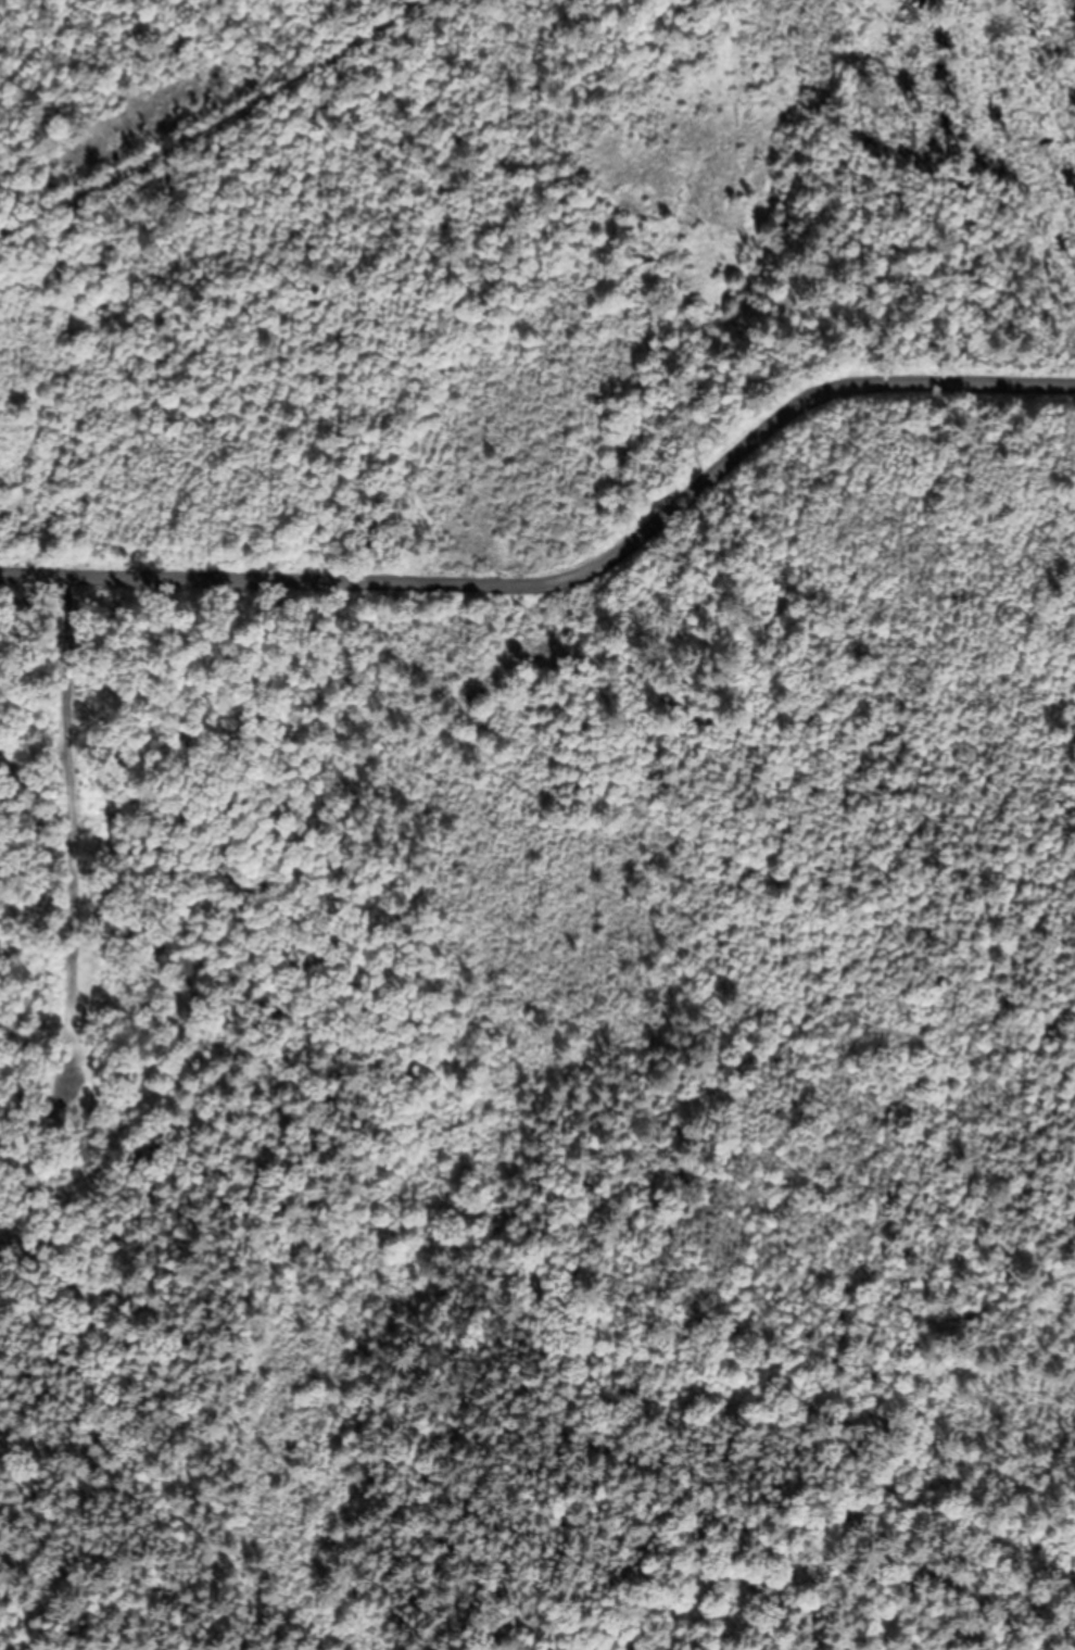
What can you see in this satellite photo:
road: (204, 118)
road: (569, 585)
road: (72, 831)

